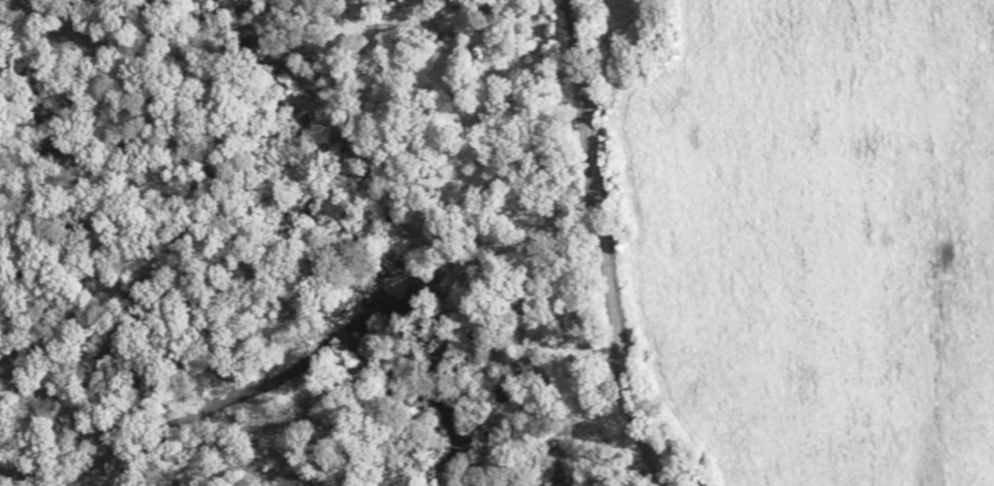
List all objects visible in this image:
crop: (822, 236)
road: (603, 242)

